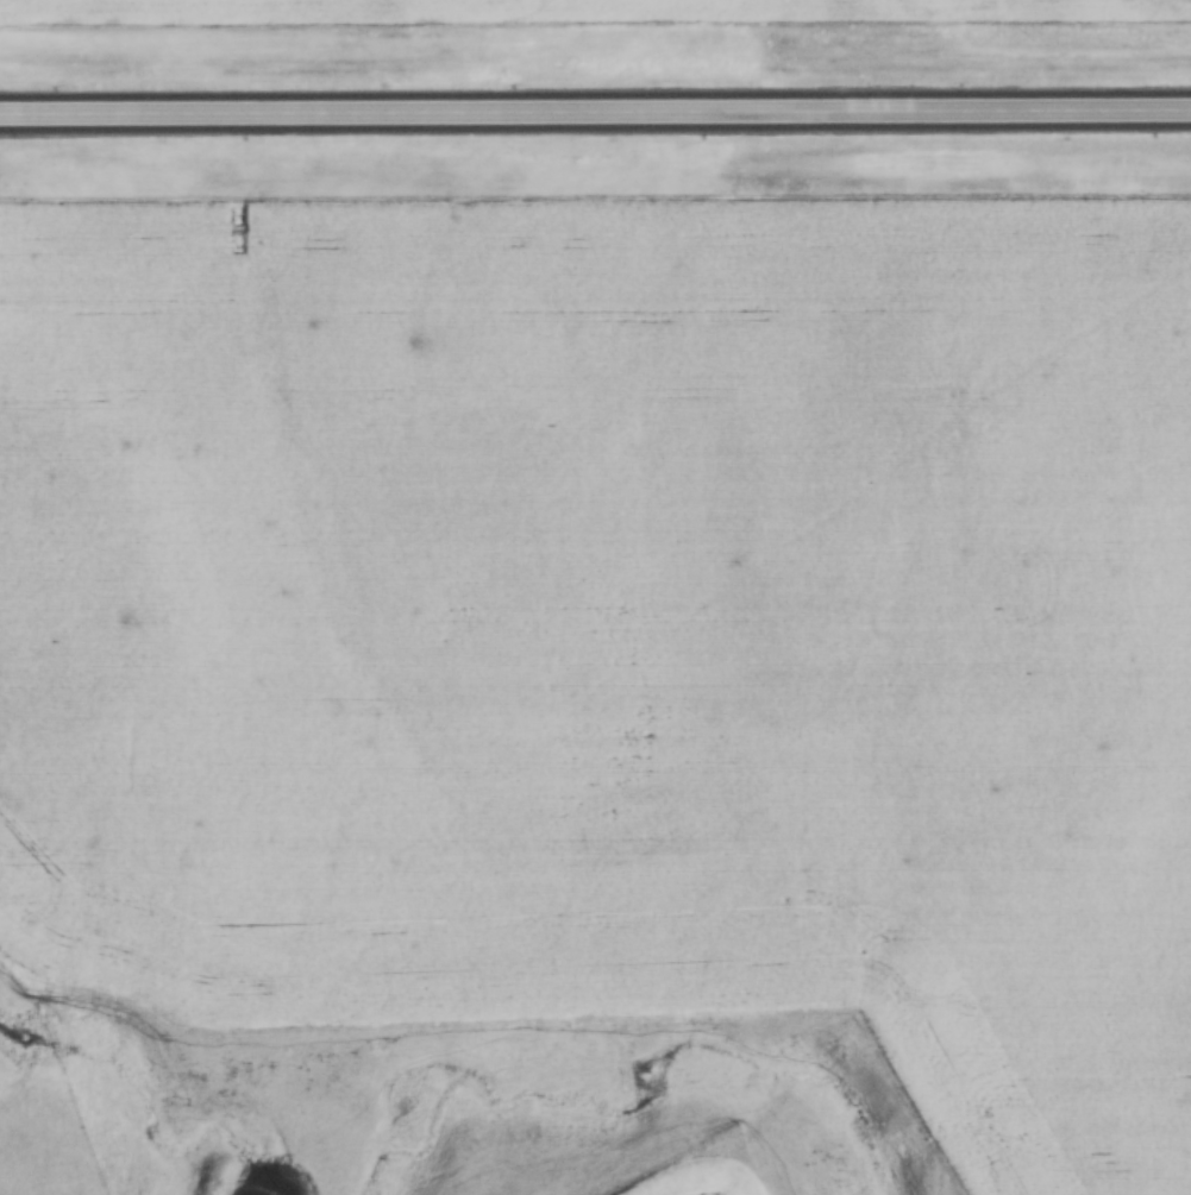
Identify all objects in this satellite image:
road: (595, 109)
river: (268, 1194)

